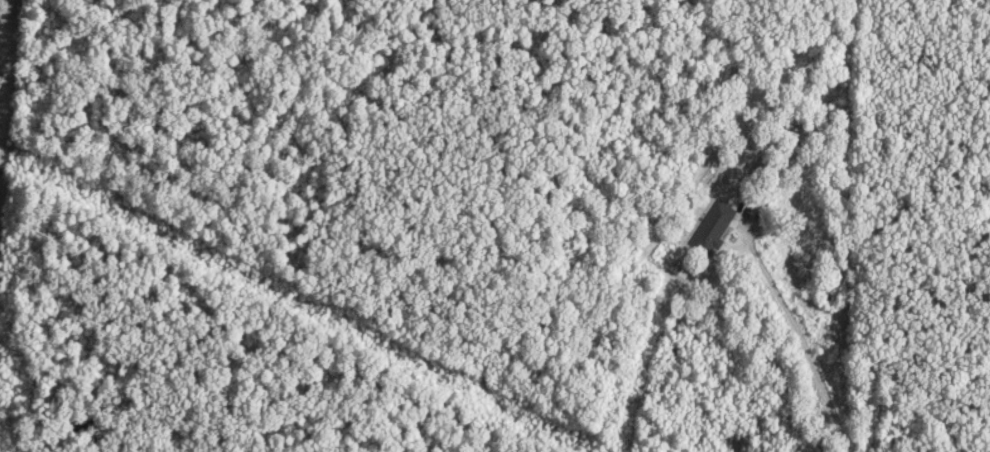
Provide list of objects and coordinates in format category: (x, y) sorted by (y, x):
building: (712, 229)
road: (789, 338)

